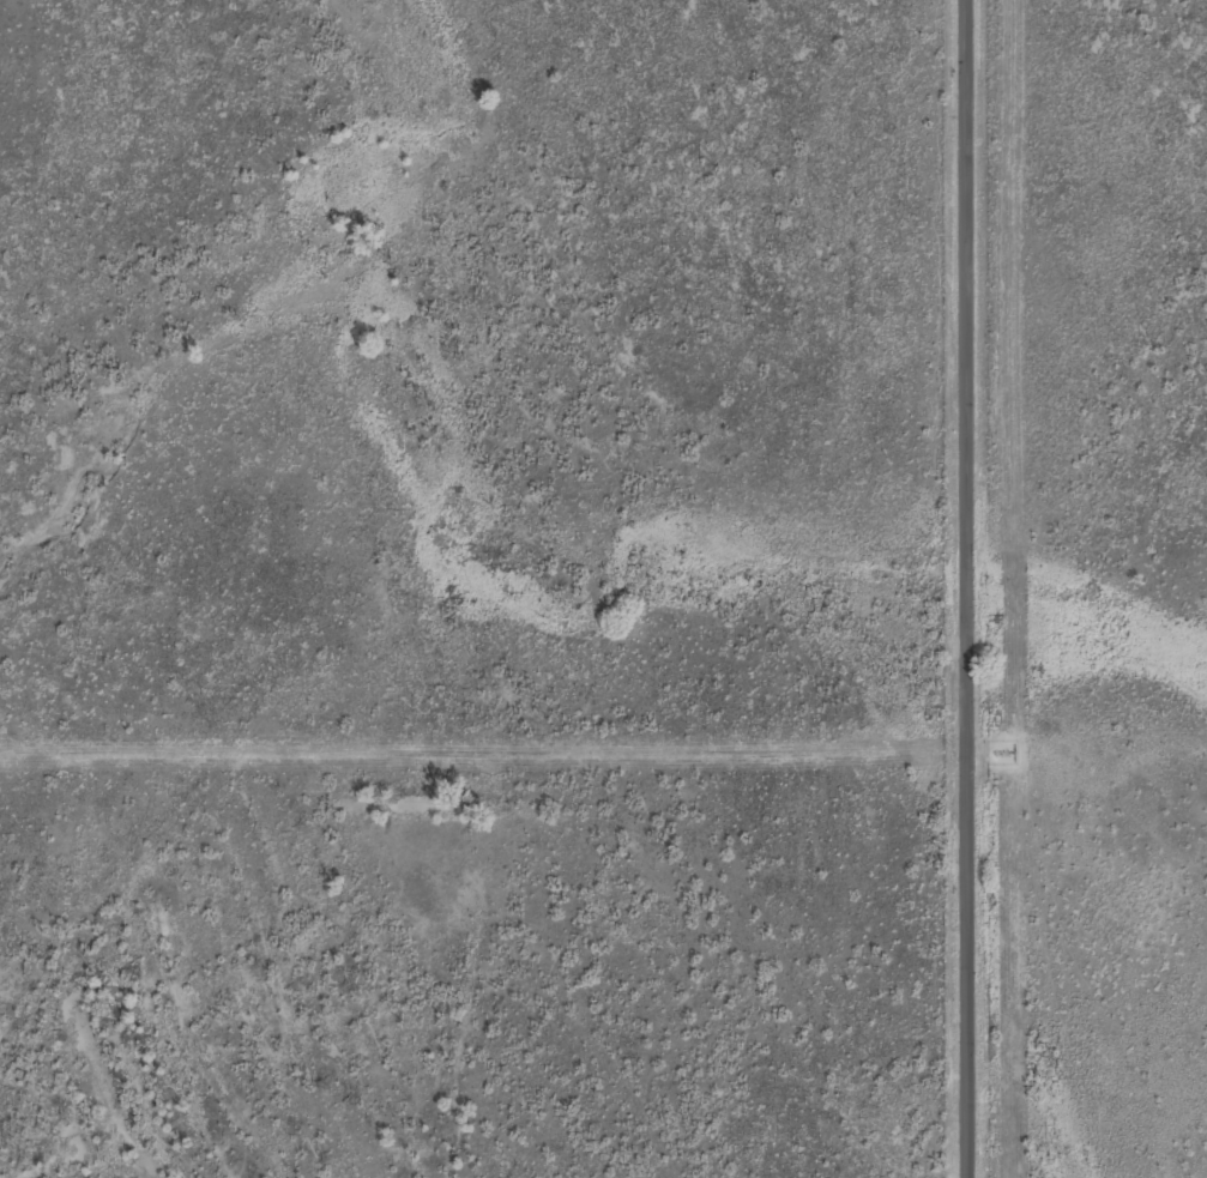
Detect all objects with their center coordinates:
road: (967, 588)

